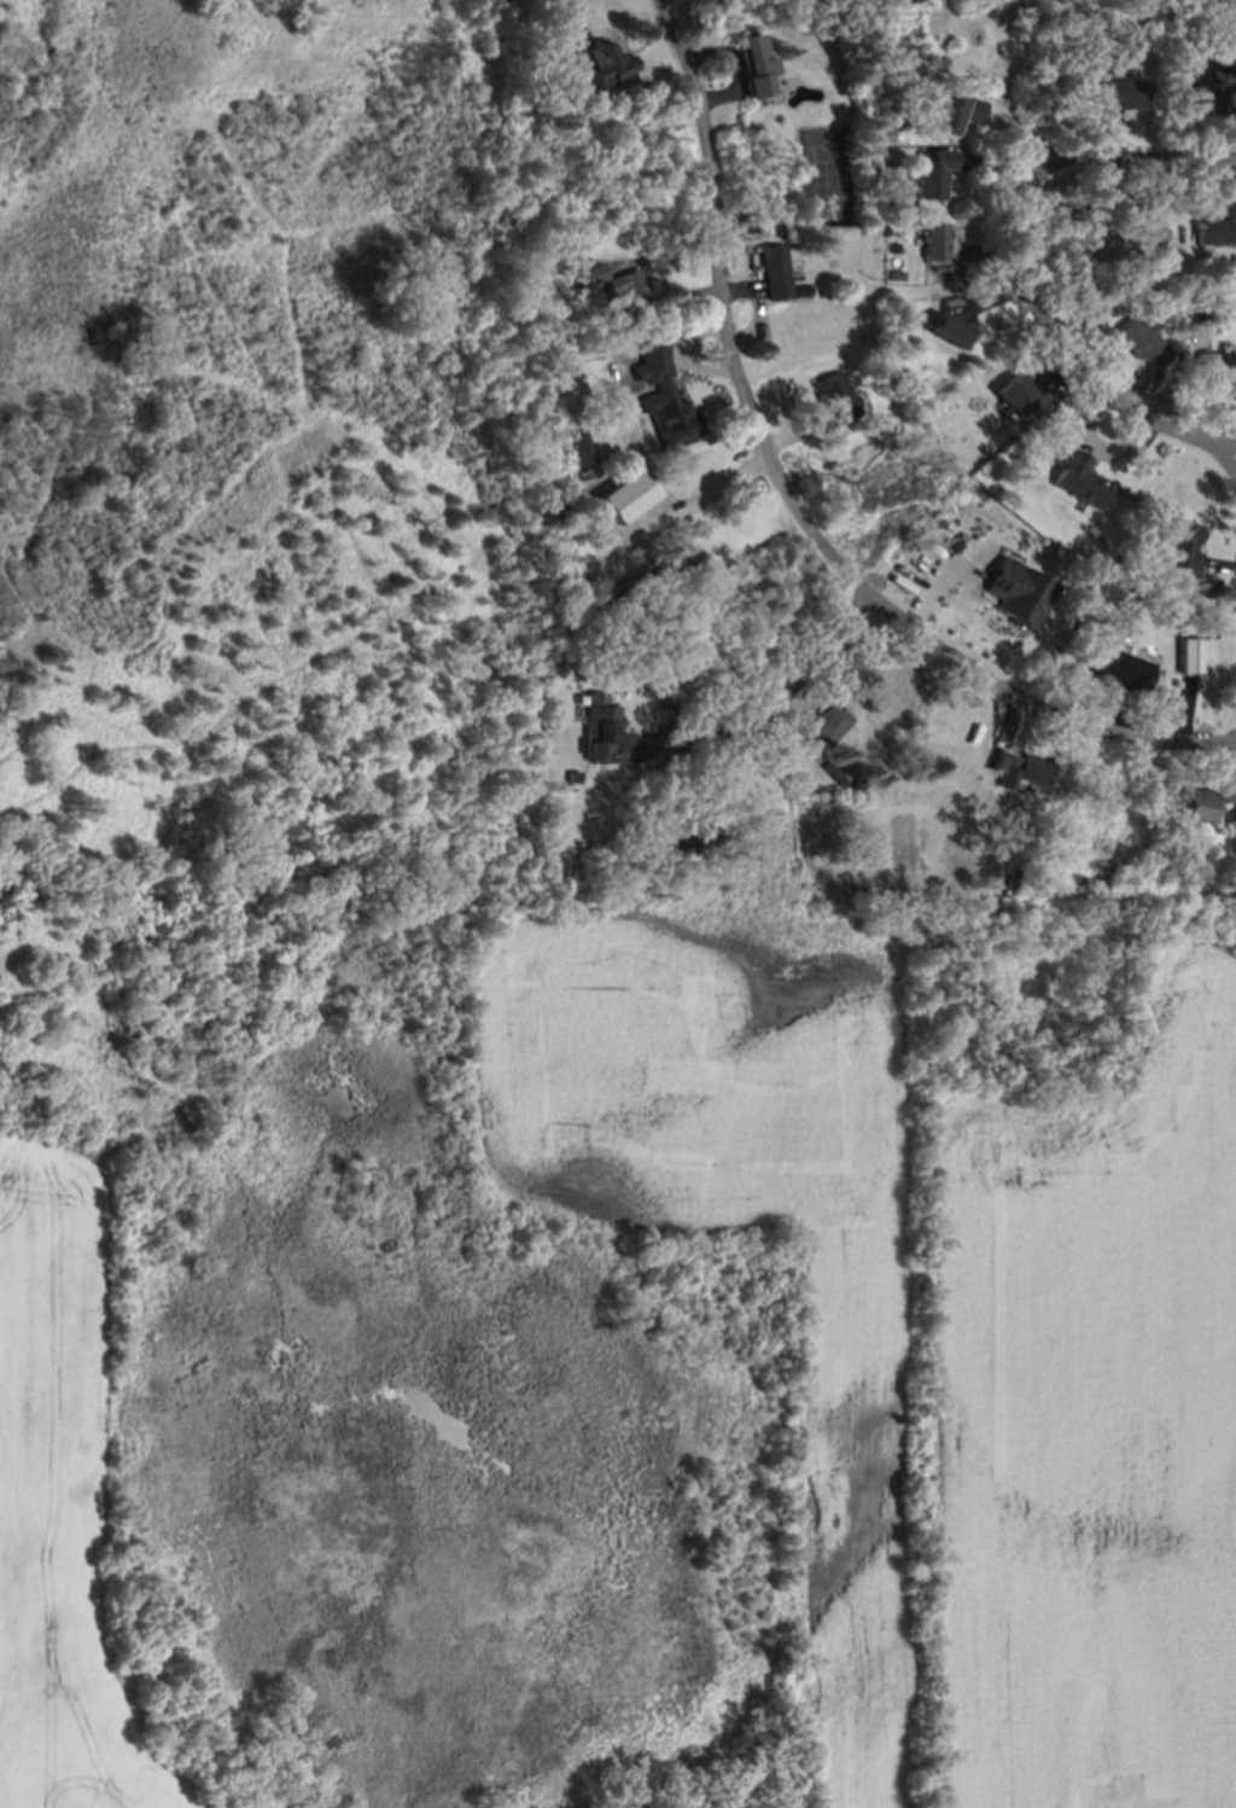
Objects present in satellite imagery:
building: (608, 63)
building: (758, 65)
building: (1126, 94)
building: (1200, 101)
building: (956, 114)
building: (932, 176)
building: (1218, 227)
road: (1026, 240)
building: (934, 242)
building: (776, 272)
building: (590, 275)
building: (629, 290)
building: (949, 330)
building: (1144, 347)
building: (1218, 366)
building: (1019, 396)
building: (665, 397)
building: (834, 400)
road: (1213, 442)
building: (581, 449)
building: (1081, 478)
building: (626, 496)
road: (788, 507)
building: (1182, 547)
building: (1020, 593)
road: (815, 650)
building: (1190, 657)
building: (1119, 668)
building: (824, 727)
road: (705, 738)
building: (1020, 769)
building: (1200, 806)

